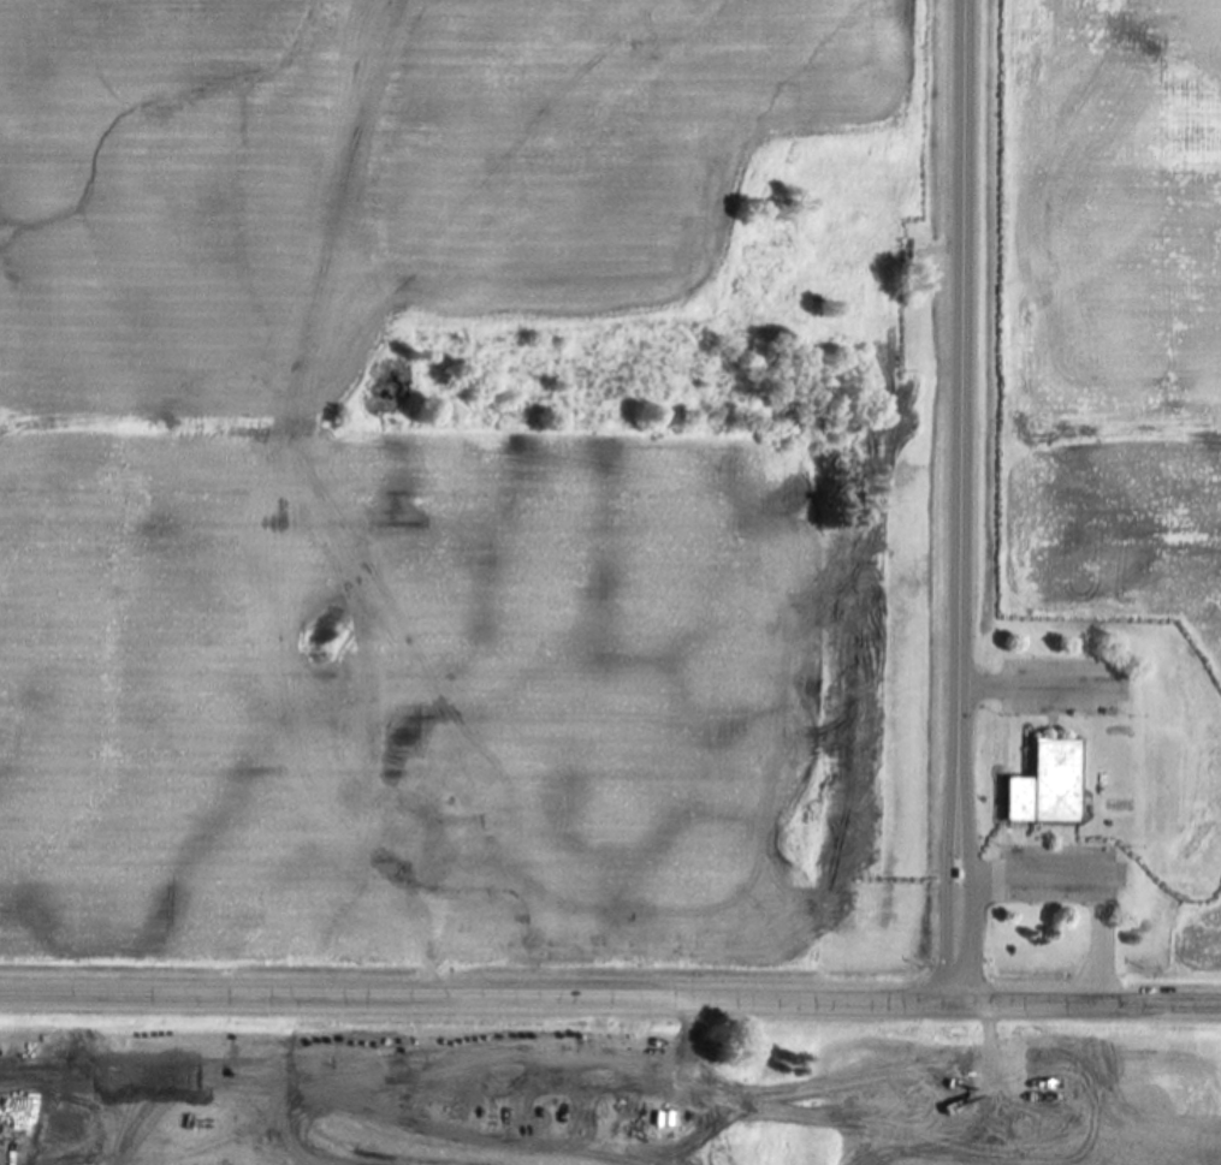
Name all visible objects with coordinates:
road: (958, 499)
building: (1049, 785)
road: (1080, 896)
road: (610, 998)
road: (690, 1065)

